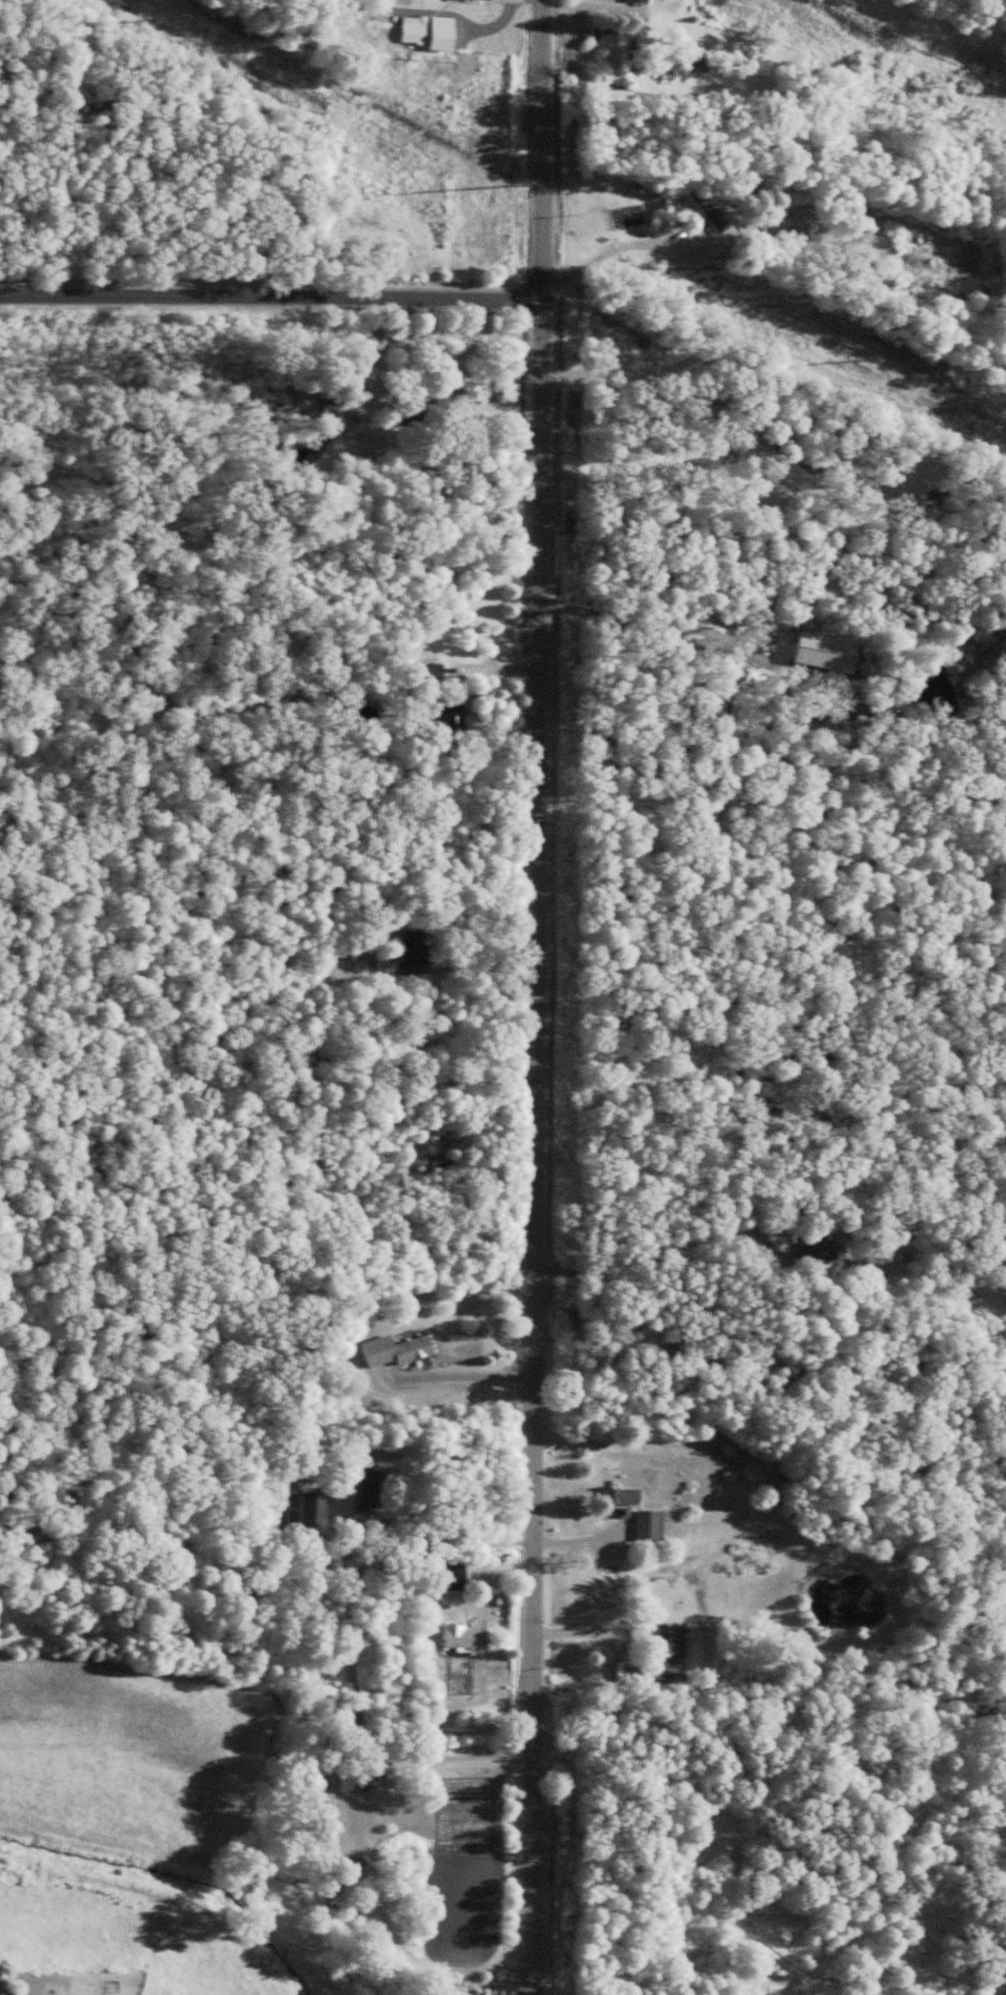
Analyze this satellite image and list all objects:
building: (640, 1)
power tower: (170, 11)
building: (430, 33)
building: (606, 37)
power tower: (506, 177)
building: (799, 196)
road: (603, 253)
road: (270, 300)
power tower: (858, 354)
building: (442, 409)
building: (450, 720)
building: (419, 956)
road: (536, 997)
building: (821, 1253)
road: (646, 1258)
building: (396, 1352)
road: (463, 1375)
building: (371, 1494)
building: (623, 1499)
building: (651, 1527)
building: (450, 1576)
building: (429, 1628)
building: (466, 1638)
building: (671, 1644)
building: (460, 1664)
building: (661, 1675)
road: (456, 1762)
building: (362, 1804)

